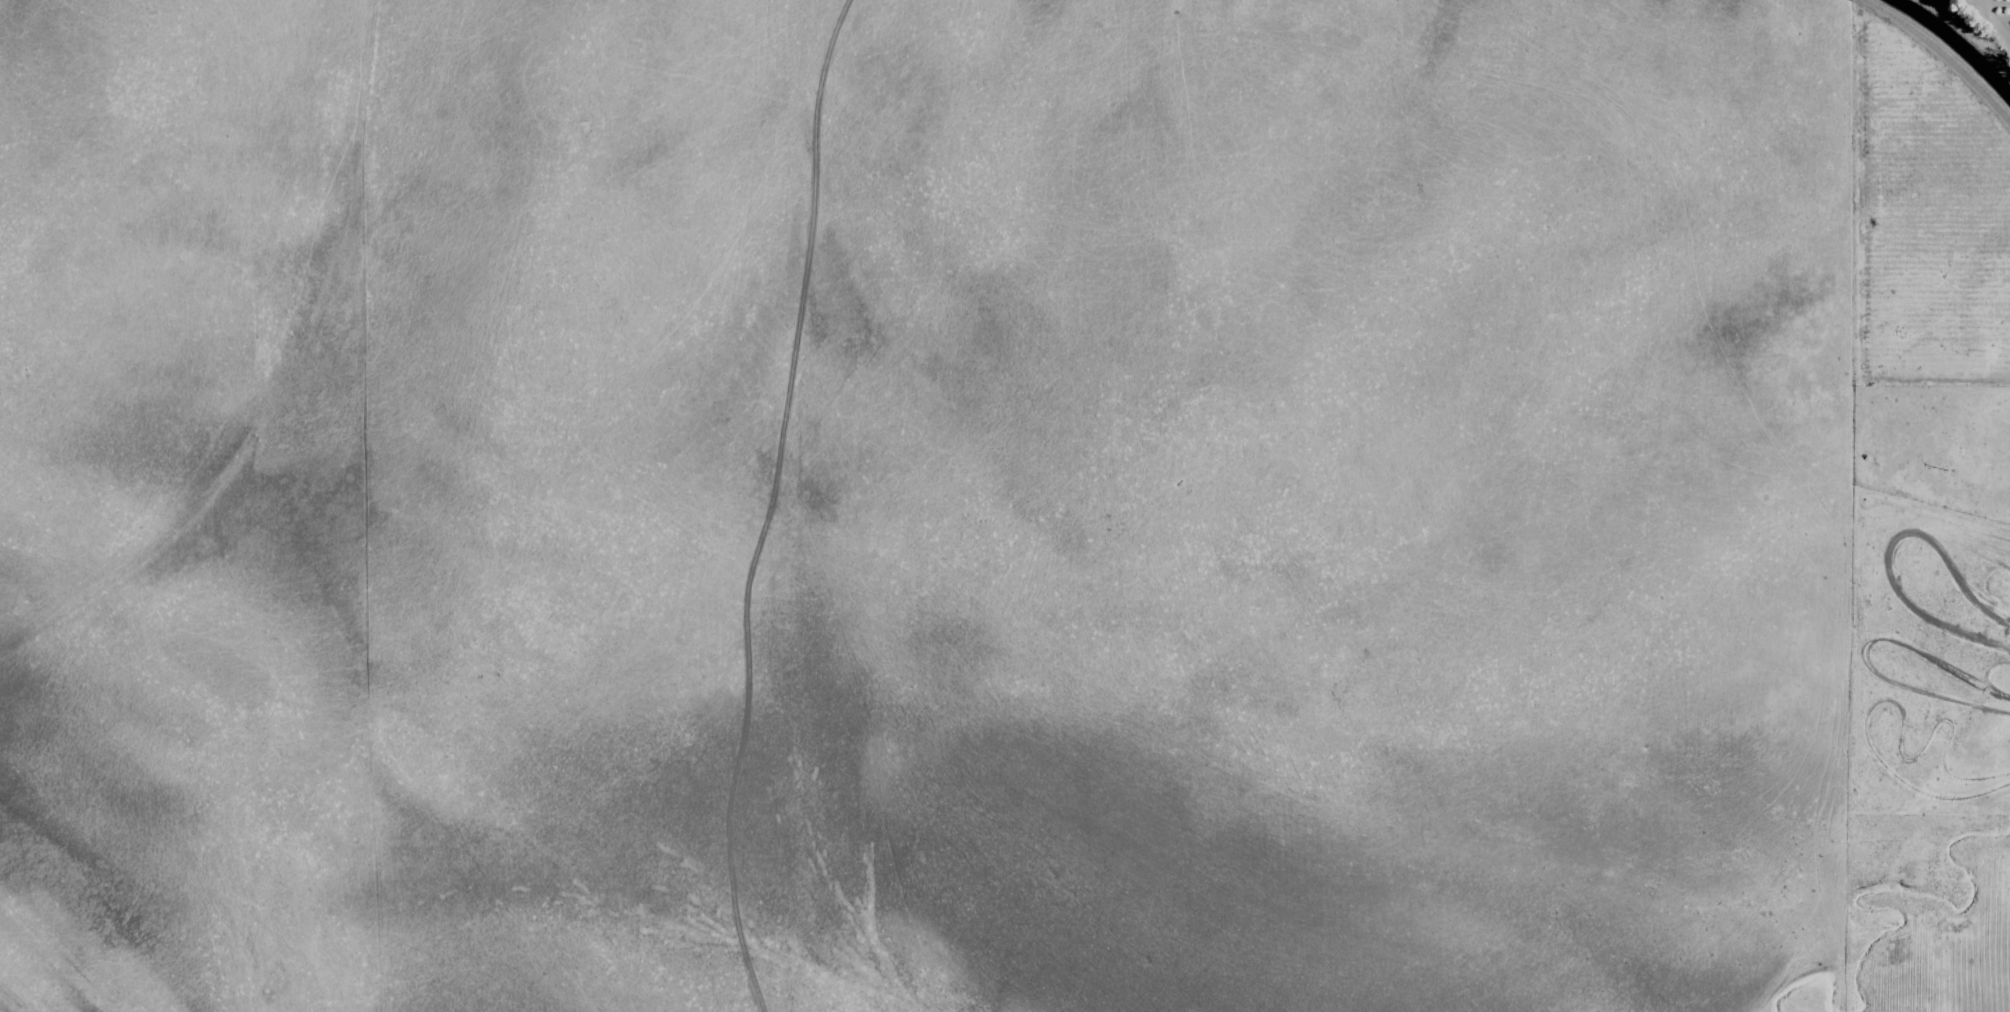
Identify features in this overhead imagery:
road: (1987, 19)
crop: (1983, 23)
crop: (1003, 506)

